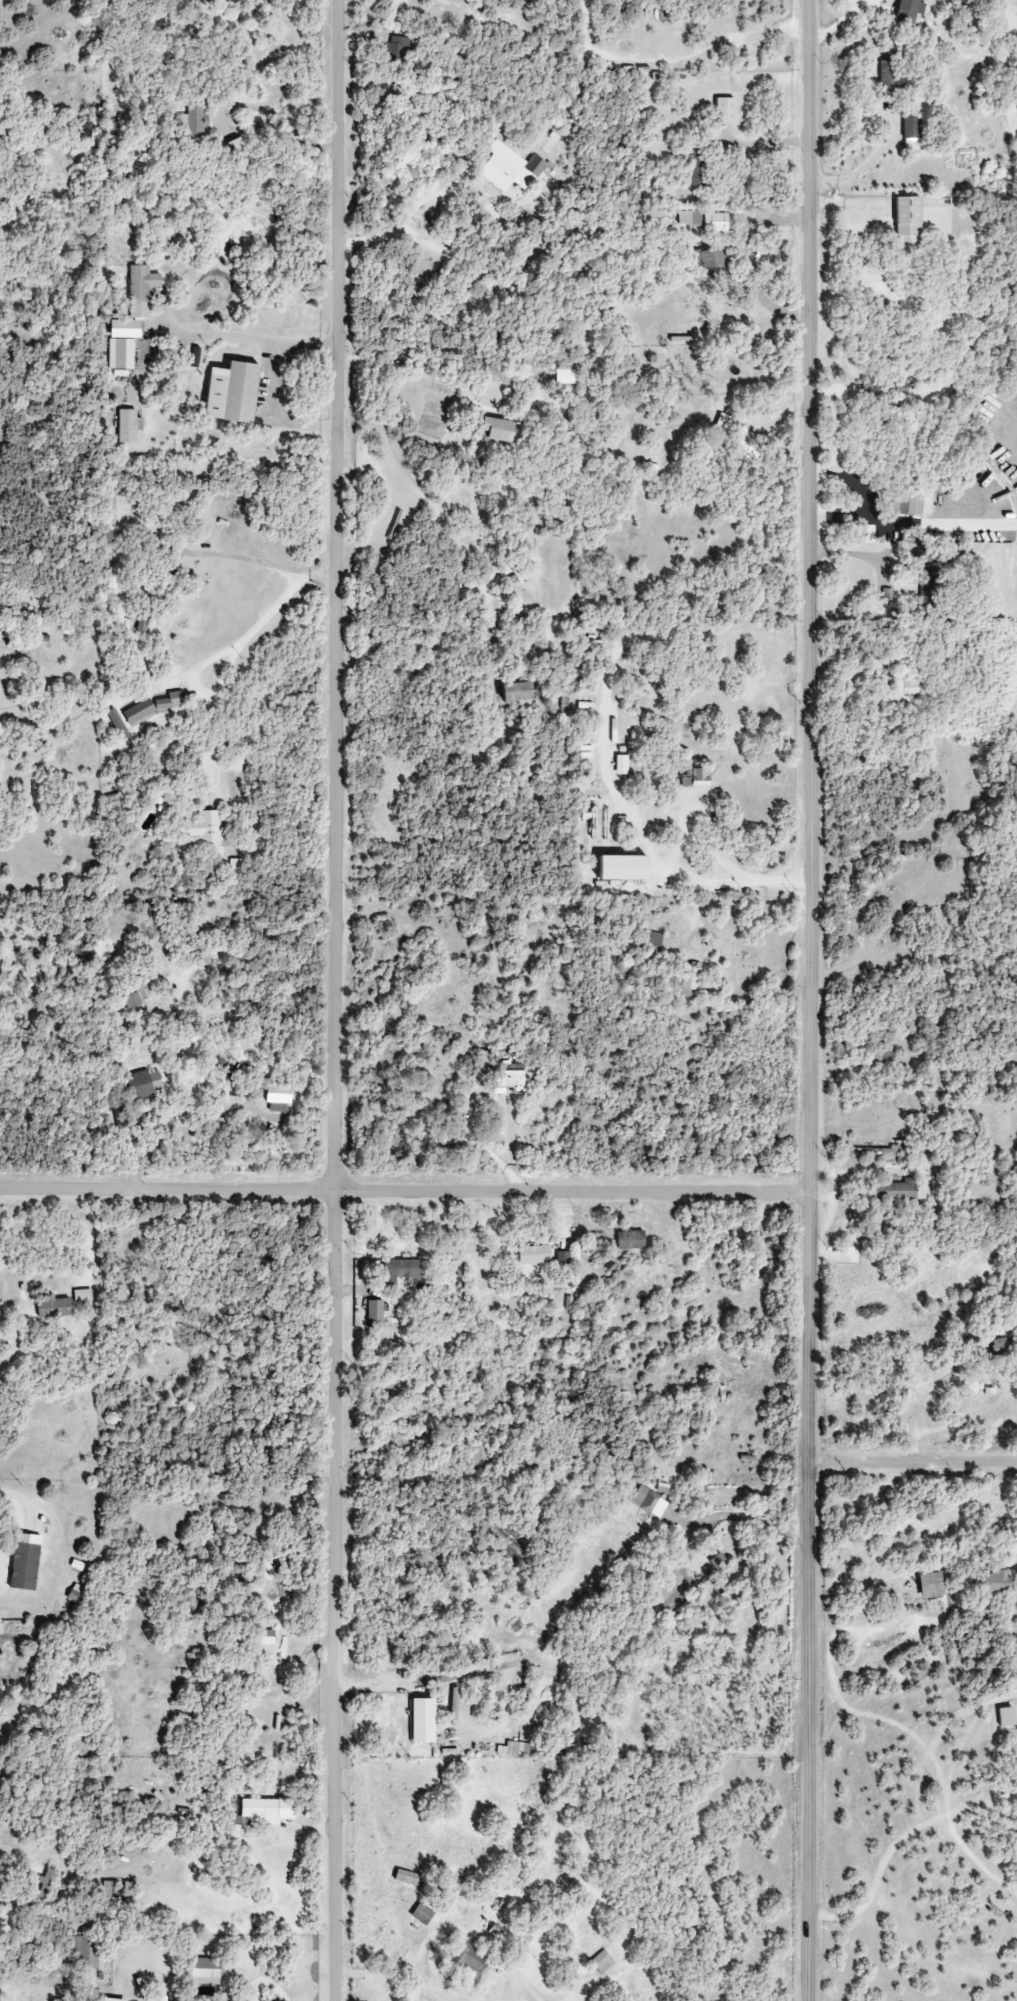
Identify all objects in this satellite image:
building: (908, 11)
road: (844, 23)
building: (392, 44)
building: (888, 77)
building: (724, 110)
building: (193, 122)
building: (911, 128)
building: (4, 130)
building: (238, 152)
building: (694, 165)
road: (859, 166)
building: (513, 169)
road: (414, 210)
building: (704, 220)
building: (907, 226)
building: (713, 263)
building: (141, 284)
building: (124, 329)
road: (247, 337)
road: (401, 349)
building: (124, 354)
building: (565, 374)
building: (890, 389)
building: (231, 392)
building: (1012, 393)
road: (270, 413)
building: (128, 426)
building: (721, 428)
building: (498, 429)
building: (748, 444)
road: (860, 497)
building: (907, 505)
road: (882, 523)
road: (854, 554)
building: (927, 558)
road: (235, 559)
building: (928, 590)
building: (886, 594)
building: (142, 621)
road: (258, 627)
building: (904, 690)
building: (516, 692)
building: (169, 701)
building: (138, 711)
building: (117, 724)
road: (215, 735)
building: (621, 765)
building: (695, 779)
road: (614, 790)
road: (685, 808)
road: (663, 822)
building: (205, 827)
building: (622, 868)
road: (685, 881)
road: (256, 939)
building: (651, 942)
building: (689, 979)
building: (1, 993)
building: (137, 995)
road: (338, 1000)
road: (815, 1000)
building: (393, 1012)
building: (481, 1062)
road: (383, 1068)
building: (509, 1079)
building: (144, 1084)
building: (277, 1096)
building: (131, 1115)
building: (894, 1191)
road: (406, 1194)
road: (90, 1238)
building: (630, 1240)
building: (533, 1254)
building: (562, 1258)
building: (400, 1270)
building: (53, 1307)
road: (754, 1308)
building: (374, 1313)
building: (1000, 1345)
road: (914, 1465)
road: (17, 1496)
road: (759, 1522)
building: (24, 1562)
building: (994, 1581)
building: (929, 1585)
building: (0, 1629)
building: (267, 1638)
building: (1006, 1717)
building: (422, 1721)
building: (518, 1749)
building: (267, 1810)
road: (898, 1845)
building: (408, 1878)
building: (129, 1889)
building: (107, 1890)
building: (422, 1914)
building: (84, 1951)
building: (467, 1958)
building: (601, 1962)
building: (205, 1971)
road: (264, 1982)
road: (25, 1988)
road: (441, 1995)
building: (172, 1998)
building: (111, 1999)

